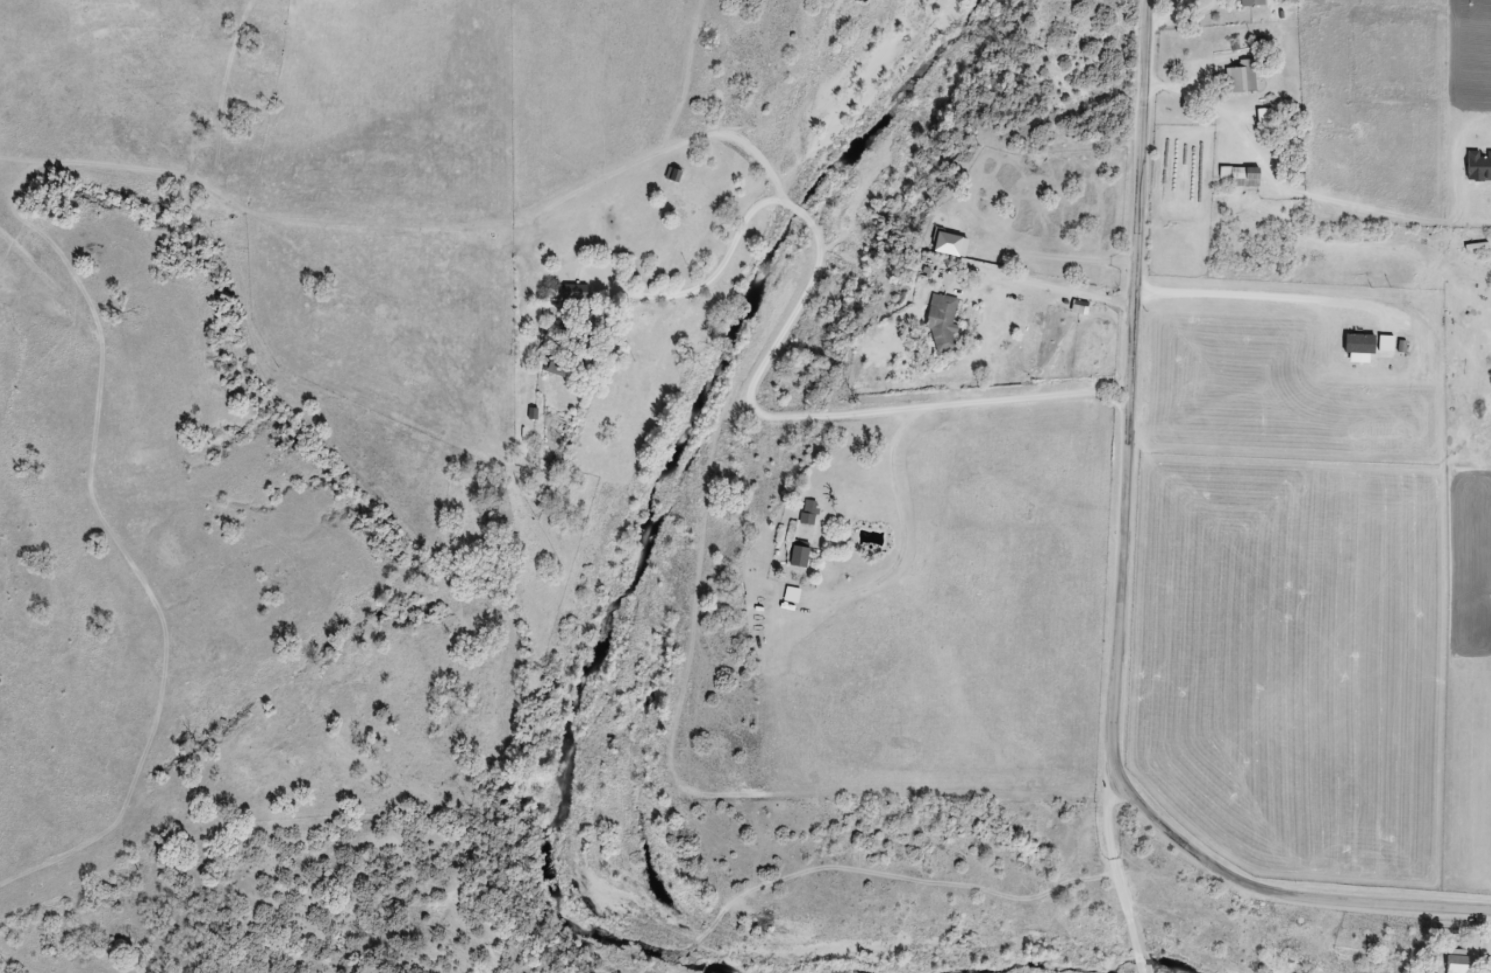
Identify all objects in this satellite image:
building: (1252, 3)
building: (1242, 79)
building: (674, 175)
building: (1242, 175)
building: (951, 244)
building: (576, 294)
building: (944, 323)
building: (561, 364)
building: (505, 513)
building: (811, 513)
building: (801, 555)
road: (1174, 578)
road: (776, 624)
building: (1460, 960)

